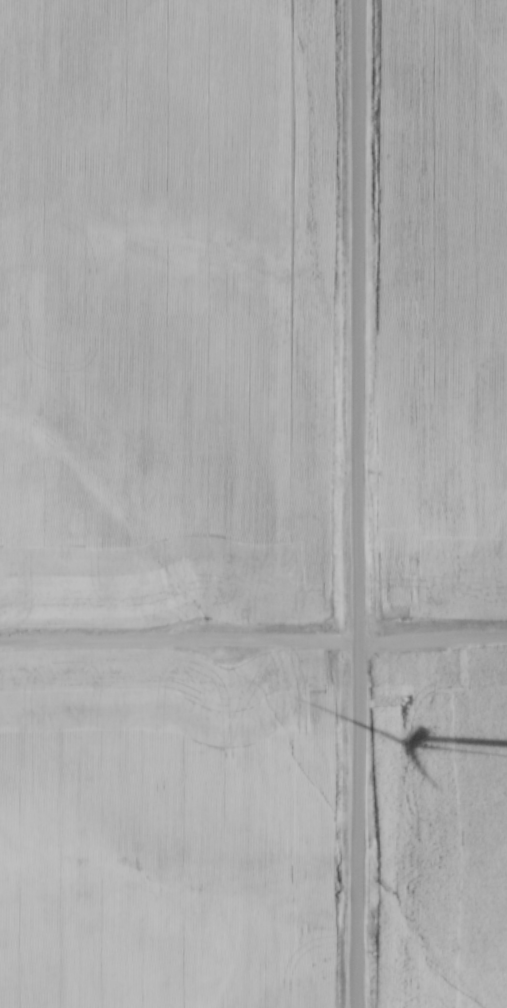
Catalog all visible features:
road: (351, 503)
road: (253, 642)

